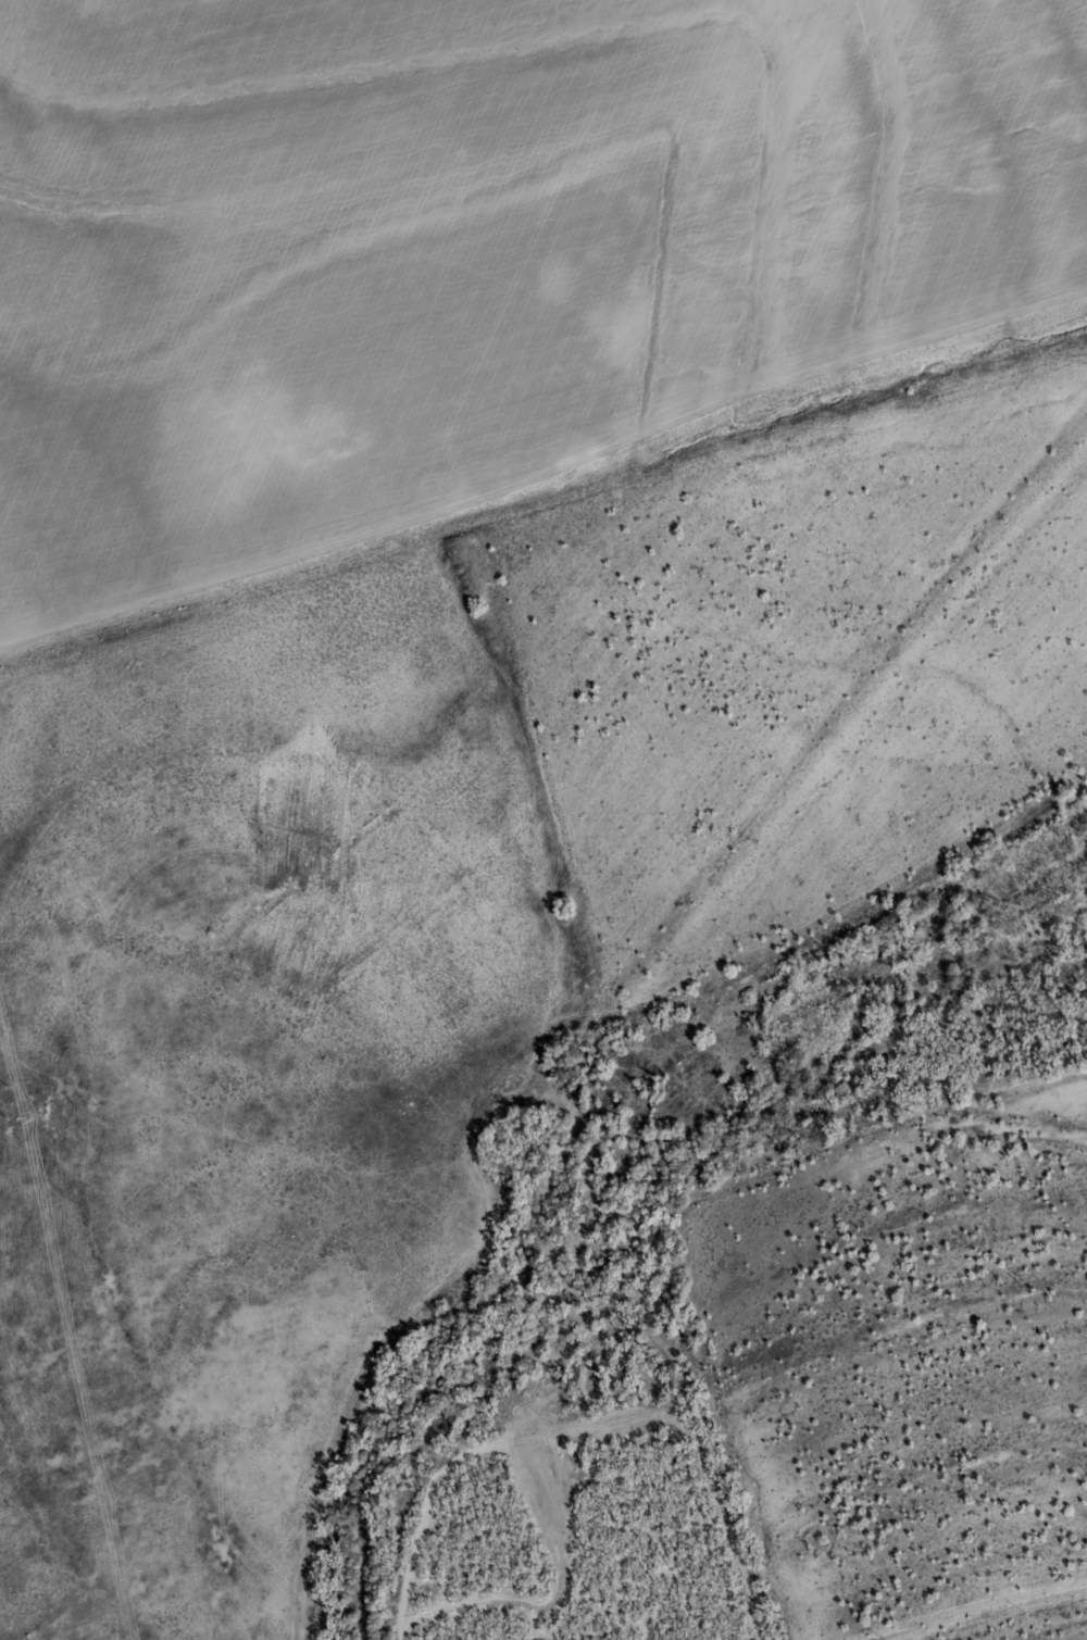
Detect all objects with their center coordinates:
road: (407, 243)

